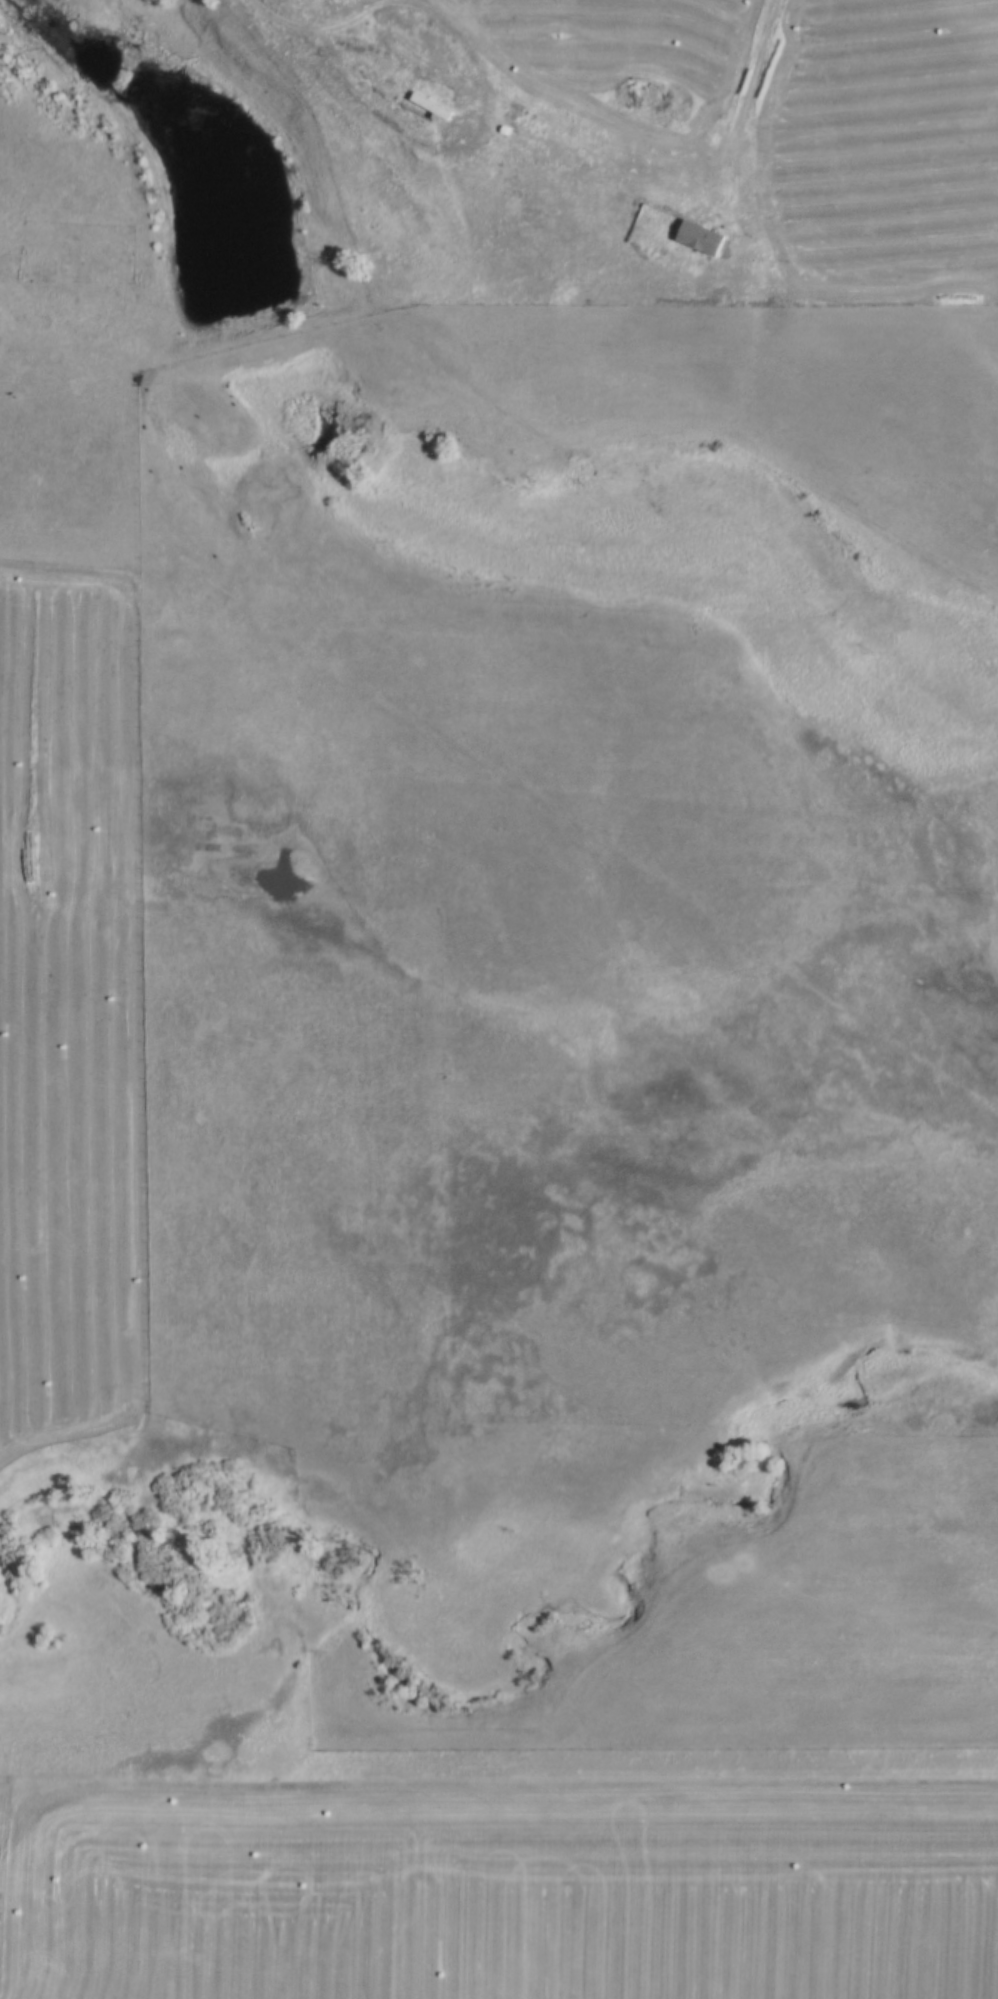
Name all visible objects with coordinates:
building: (402, 25)
building: (413, 53)
building: (360, 82)
building: (431, 85)
building: (427, 105)
building: (402, 113)
road: (880, 1210)

